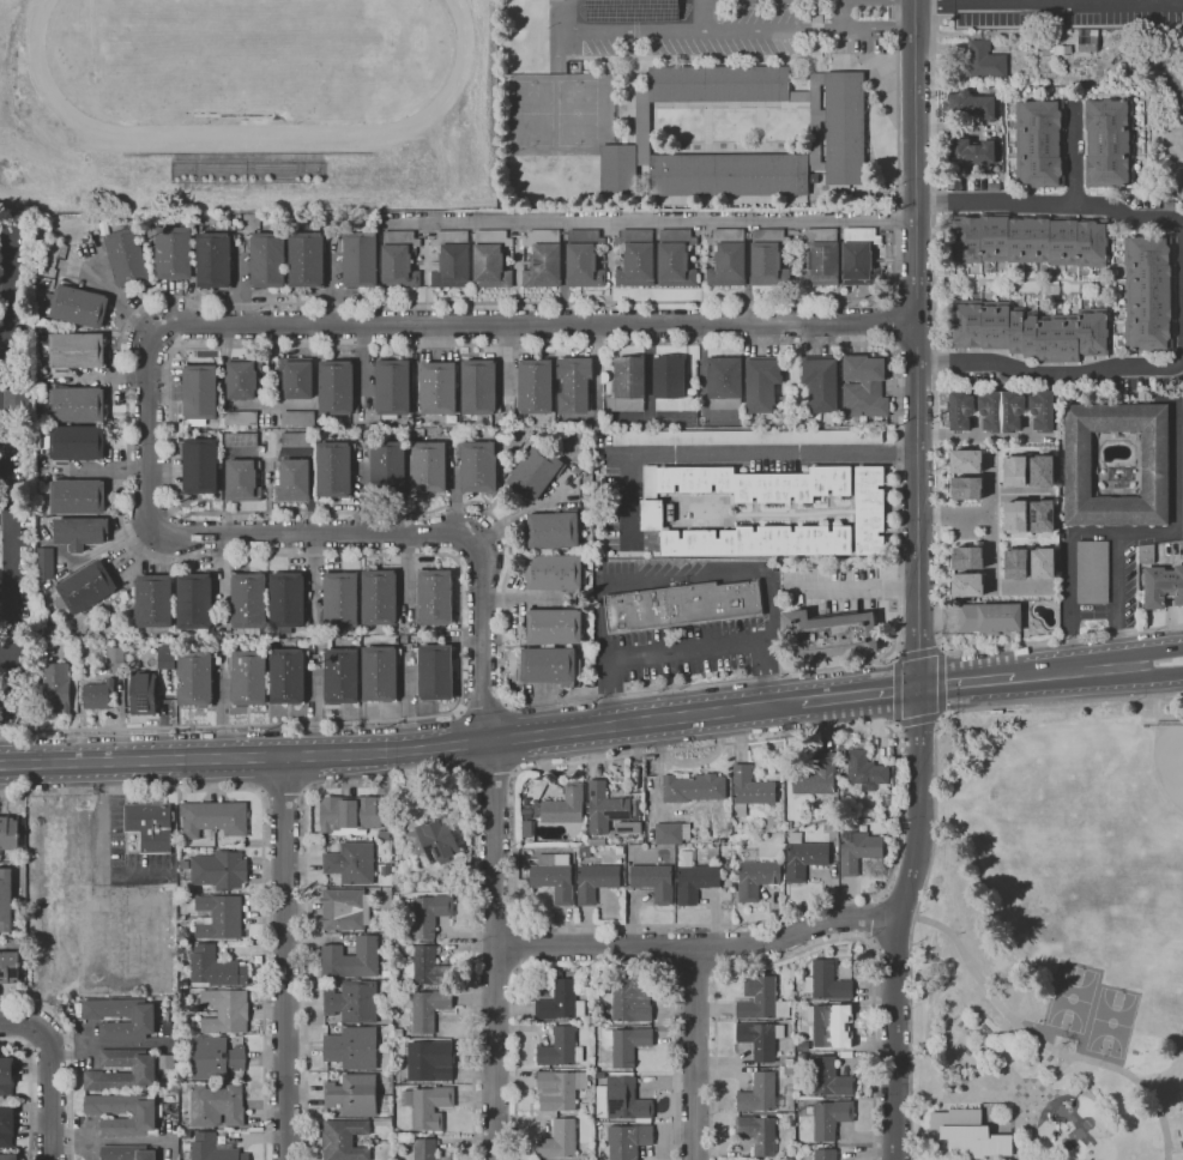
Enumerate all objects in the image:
road: (1048, 1)
building: (632, 10)
road: (702, 14)
road: (841, 14)
parking lot: (722, 28)
road: (730, 29)
building: (1087, 41)
park: (249, 50)
building: (985, 61)
building: (1169, 64)
building: (1122, 71)
track: (42, 79)
building: (718, 84)
road: (1178, 90)
building: (959, 104)
building: (985, 107)
park: (577, 111)
park: (531, 113)
building: (813, 117)
building: (642, 128)
building: (845, 128)
road: (953, 128)
building: (1110, 143)
building: (1039, 144)
building: (959, 152)
building: (984, 152)
road: (1075, 158)
building: (618, 170)
building: (729, 175)
road: (1050, 203)
building: (1169, 205)
road: (653, 219)
building: (1030, 240)
building: (174, 252)
building: (127, 255)
building: (636, 258)
building: (676, 258)
building: (728, 258)
building: (769, 258)
building: (821, 258)
building: (859, 258)
building: (307, 259)
building: (360, 259)
building: (491, 259)
building: (544, 259)
building: (585, 259)
building: (215, 260)
building: (267, 260)
building: (399, 260)
building: (452, 260)
road: (8, 262)
building: (1050, 289)
road: (4, 292)
building: (1147, 292)
building: (77, 306)
road: (4, 320)
road: (892, 322)
road: (533, 324)
building: (1031, 330)
road: (164, 342)
building: (76, 350)
road: (508, 357)
road: (121, 365)
road: (1049, 373)
building: (296, 376)
building: (243, 377)
building: (724, 382)
building: (574, 383)
building: (822, 383)
building: (628, 385)
building: (670, 385)
building: (762, 385)
building: (535, 386)
building: (479, 387)
building: (864, 387)
building: (337, 388)
building: (392, 388)
building: (437, 388)
building: (200, 393)
building: (17, 398)
building: (74, 403)
building: (959, 411)
building: (1001, 411)
building: (1040, 411)
building: (241, 418)
building: (298, 418)
road: (149, 429)
building: (744, 437)
building: (298, 439)
road: (980, 439)
building: (241, 440)
building: (77, 443)
road: (937, 443)
road: (731, 454)
building: (965, 460)
building: (1079, 463)
building: (200, 466)
building: (478, 466)
building: (386, 467)
building: (428, 467)
building: (334, 469)
building: (1014, 470)
building: (1042, 470)
building: (535, 472)
building: (243, 481)
building: (294, 481)
building: (758, 483)
building: (966, 488)
road: (1020, 494)
building: (76, 496)
building: (653, 502)
building: (869, 509)
road: (898, 513)
road: (4, 515)
road: (955, 515)
building: (1042, 515)
building: (1015, 516)
building: (553, 530)
road: (1116, 531)
building: (82, 532)
road: (314, 533)
building: (760, 540)
road: (991, 551)
building: (1146, 554)
building: (964, 557)
building: (46, 563)
building: (1015, 563)
building: (1042, 563)
building: (554, 573)
building: (1092, 573)
road: (650, 581)
road: (919, 581)
building: (966, 585)
building: (1163, 586)
building: (85, 588)
road: (855, 588)
building: (380, 598)
building: (340, 599)
road: (1118, 599)
building: (195, 600)
building: (434, 600)
building: (153, 602)
building: (248, 602)
building: (286, 602)
building: (682, 604)
road: (10, 606)
building: (990, 617)
building: (554, 626)
building: (829, 635)
building: (225, 638)
road: (689, 647)
road: (947, 651)
road: (921, 652)
road: (1148, 653)
building: (116, 654)
road: (6, 657)
building: (167, 657)
road: (895, 657)
building: (549, 665)
road: (1097, 669)
road: (763, 671)
building: (435, 672)
building: (380, 673)
road: (1045, 673)
building: (288, 675)
building: (340, 675)
road: (1149, 676)
building: (195, 677)
building: (248, 677)
road: (966, 681)
road: (946, 682)
building: (56, 687)
traffic signals: (921, 688)
road: (897, 690)
building: (143, 693)
building: (98, 694)
road: (861, 695)
road: (482, 708)
road: (944, 713)
road: (921, 718)
road: (894, 725)
road: (402, 749)
park: (1170, 762)
building: (864, 768)
building: (816, 777)
road: (391, 785)
building: (694, 787)
building: (750, 790)
road: (284, 793)
building: (563, 805)
building: (605, 808)
building: (527, 812)
building: (350, 815)
road: (935, 816)
building: (213, 818)
building: (150, 824)
building: (789, 824)
building: (831, 824)
building: (779, 827)
building: (8, 833)
building: (384, 833)
building: (671, 833)
building: (433, 840)
building: (889, 845)
road: (264, 847)
road: (495, 847)
building: (857, 848)
building: (620, 850)
road: (104, 851)
building: (585, 853)
building: (803, 857)
building: (351, 863)
building: (728, 868)
building: (219, 869)
road: (891, 870)
building: (554, 876)
building: (755, 876)
building: (653, 881)
building: (596, 882)
building: (695, 882)
building: (6, 901)
building: (345, 910)
building: (429, 913)
building: (219, 917)
park: (1055, 938)
road: (518, 944)
road: (696, 947)
road: (805, 949)
road: (285, 957)
building: (351, 959)
building: (11, 967)
building: (216, 967)
building: (425, 967)
road: (593, 968)
road: (695, 971)
building: (827, 981)
building: (761, 998)
park: (1073, 998)
building: (351, 1001)
building: (629, 1001)
building: (174, 1003)
building: (561, 1003)
building: (427, 1009)
building: (225, 1010)
building: (143, 1020)
park: (1112, 1022)
road: (22, 1025)
building: (832, 1025)
building: (167, 1028)
building: (761, 1039)
building: (626, 1044)
building: (797, 1046)
road: (1043, 1046)
building: (352, 1047)
building: (560, 1049)
road: (73, 1052)
road: (693, 1053)
building: (217, 1058)
building: (789, 1062)
building: (429, 1064)
building: (144, 1070)
building: (786, 1070)
building: (599, 1075)
building: (6, 1077)
building: (826, 1079)
building: (560, 1089)
building: (789, 1089)
road: (28, 1092)
building: (760, 1093)
building: (354, 1094)
road: (50, 1095)
building: (622, 1100)
building: (217, 1105)
building: (428, 1106)
building: (147, 1116)
building: (831, 1118)
building: (382, 1122)
building: (7, 1126)
building: (758, 1134)
building: (970, 1134)
building: (344, 1140)
building: (559, 1140)
building: (628, 1141)
building: (213, 1149)
building: (425, 1149)
building: (127, 1153)
building: (825, 1154)
building: (8, 1156)

